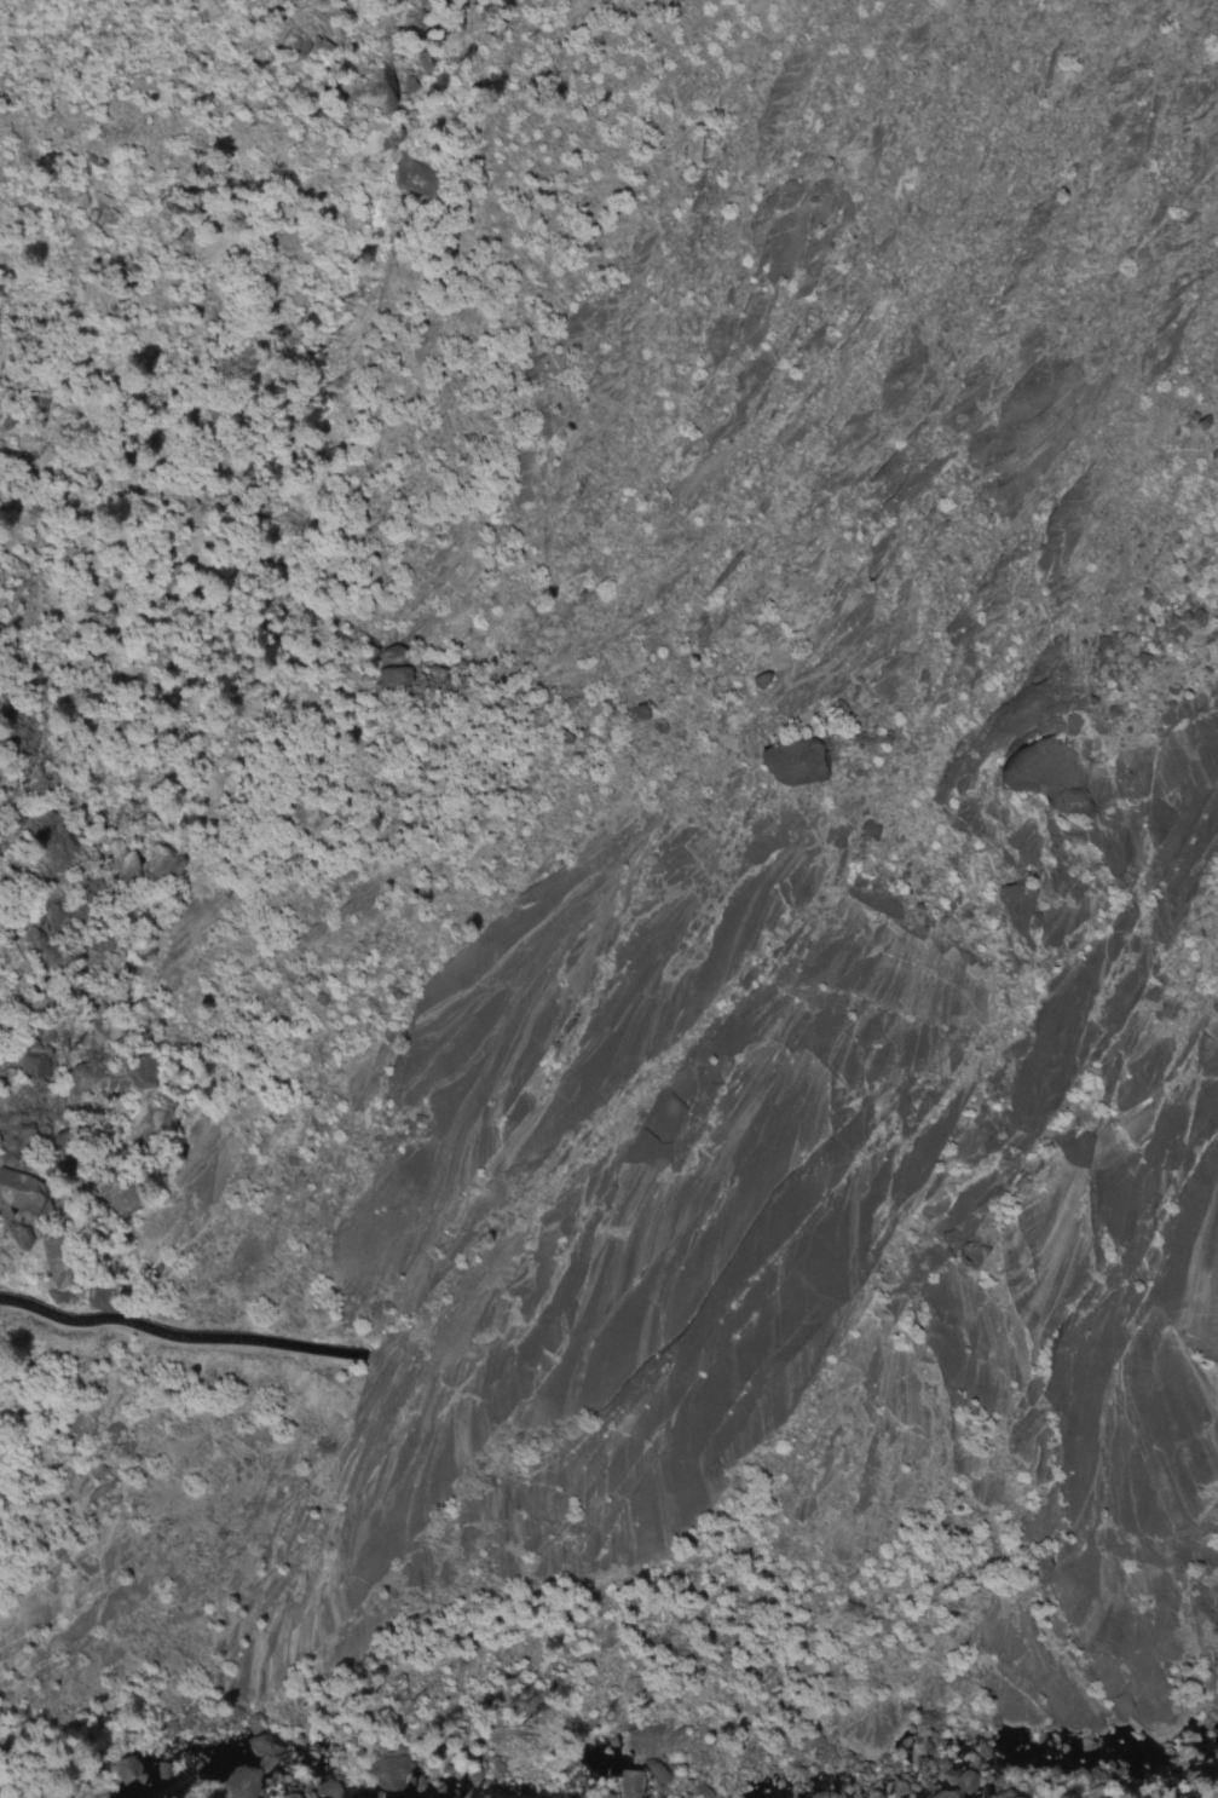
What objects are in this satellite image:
river: (1040, 1763)

